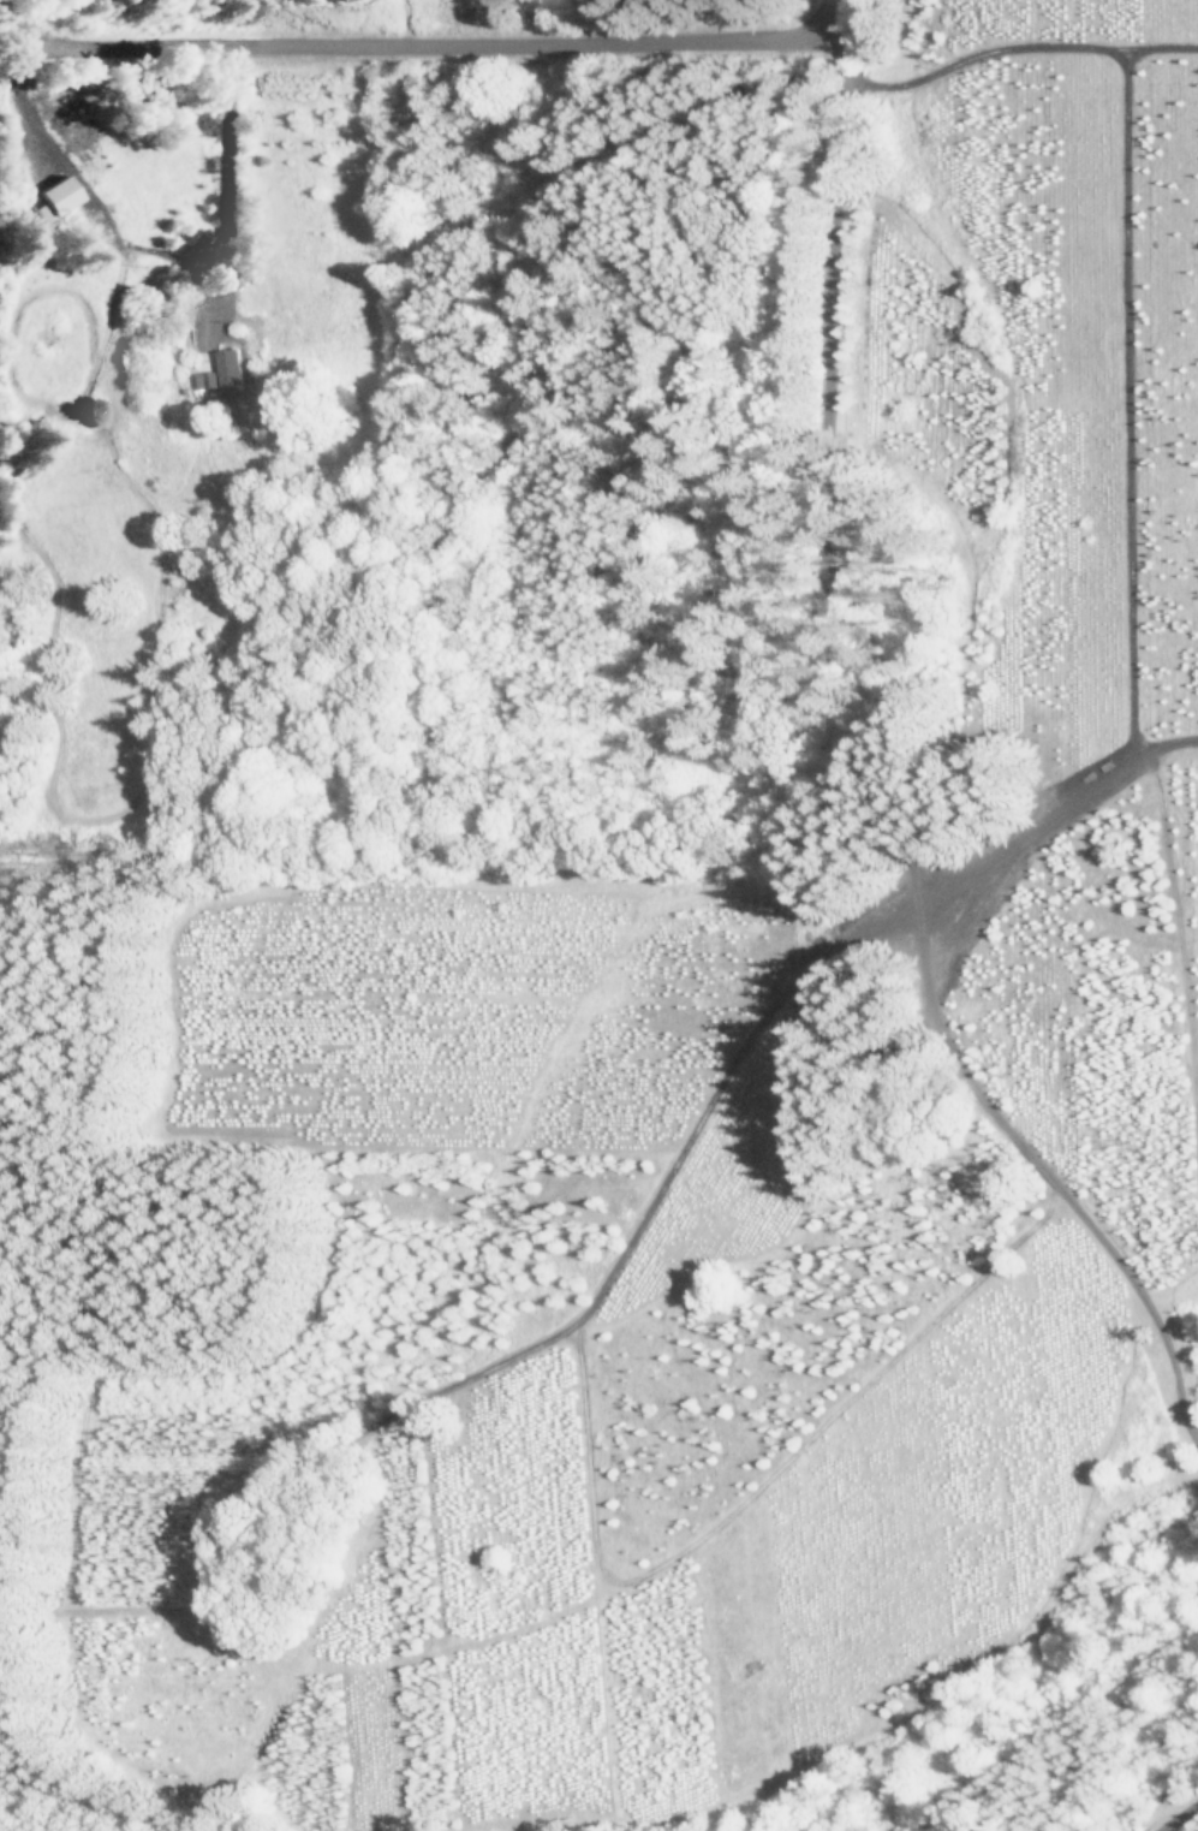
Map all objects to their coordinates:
road: (421, 42)
road: (1018, 46)
building: (61, 194)
road: (171, 299)
building: (231, 365)
road: (1130, 402)
road: (895, 757)
road: (1051, 813)
road: (1176, 1817)

